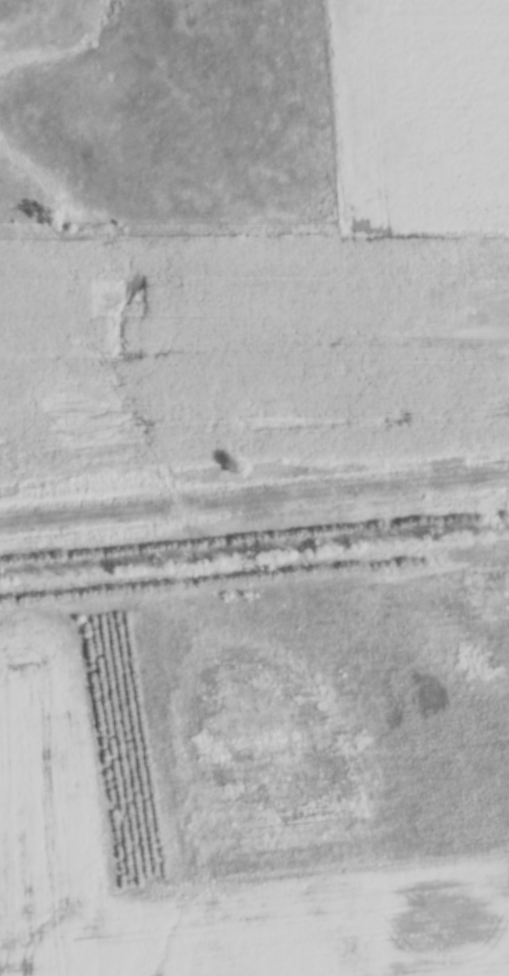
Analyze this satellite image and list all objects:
crop: (419, 111)

